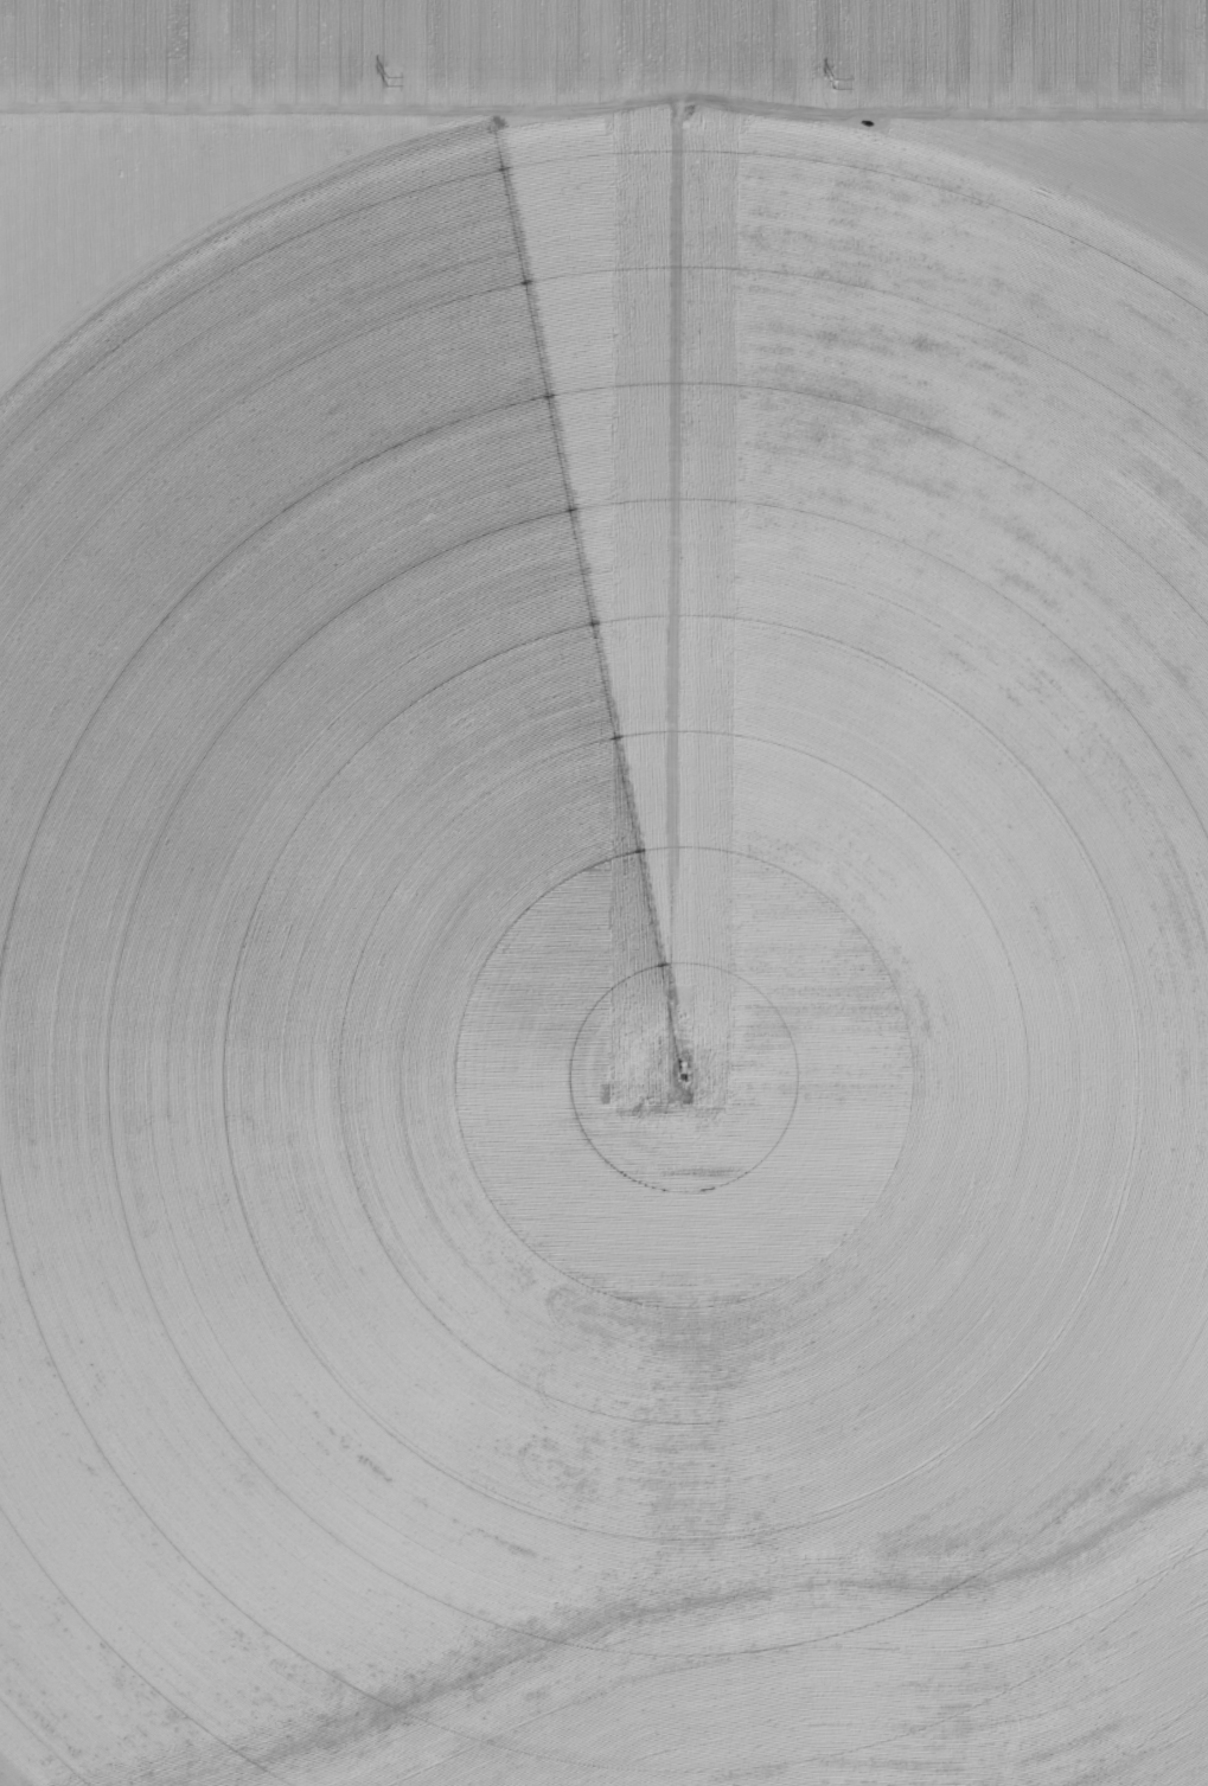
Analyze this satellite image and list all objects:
power tower: (382, 81)
power tower: (827, 83)
road: (603, 103)

